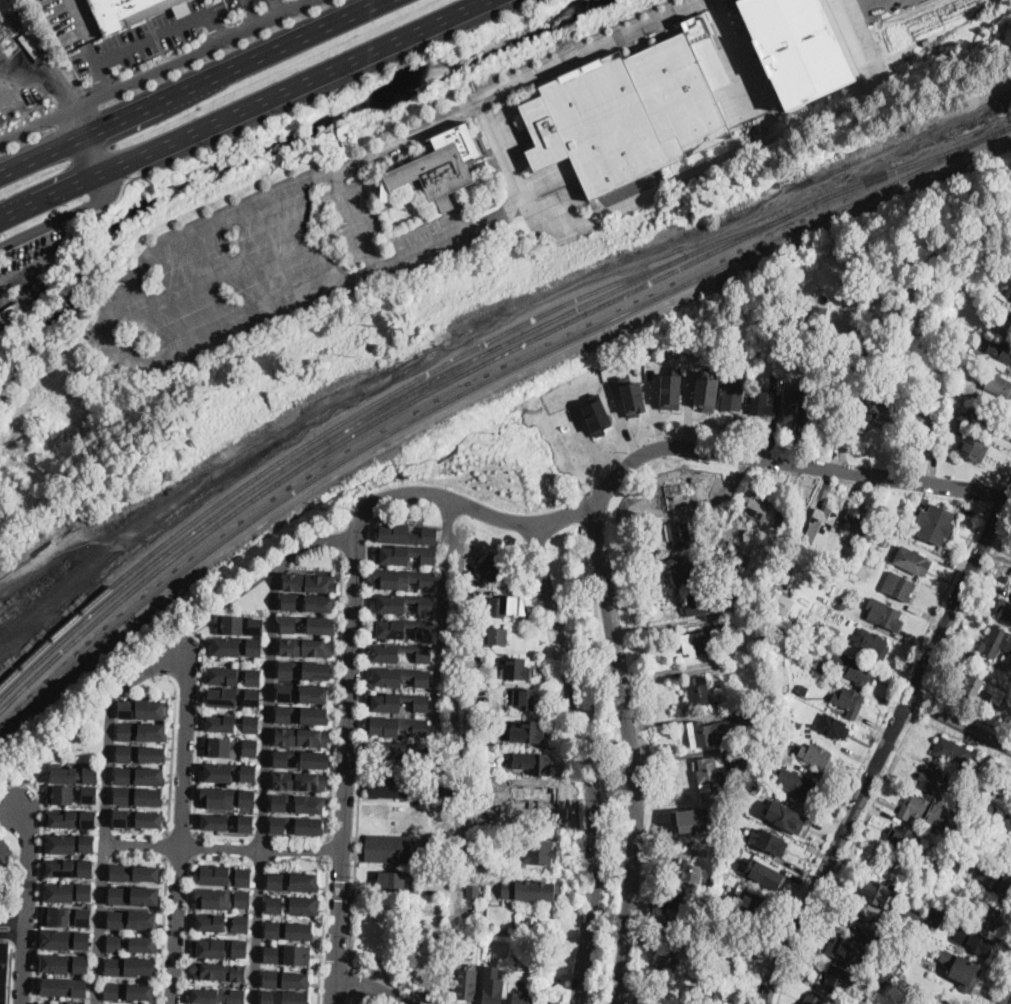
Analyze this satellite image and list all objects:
parking lot: (237, 4)
building: (182, 8)
road: (275, 8)
parking lot: (882, 8)
building: (123, 11)
road: (250, 13)
parking lot: (70, 22)
road: (89, 29)
road: (152, 35)
railway: (960, 36)
parking lot: (146, 37)
railway: (947, 38)
building: (926, 41)
building: (797, 47)
road: (588, 48)
road: (157, 71)
parking lot: (743, 75)
road: (59, 85)
road: (196, 88)
road: (861, 89)
parking lot: (16, 100)
road: (244, 108)
building: (633, 110)
road: (718, 163)
building: (440, 166)
parking lot: (567, 184)
road: (65, 216)
parking lot: (431, 246)
building: (813, 264)
road: (382, 265)
parking lot: (239, 272)
road: (207, 278)
building: (770, 292)
building: (735, 295)
building: (30, 297)
building: (12, 317)
building: (818, 319)
building: (1009, 323)
road: (109, 332)
railway: (539, 336)
building: (865, 350)
building: (1003, 351)
building: (973, 353)
building: (999, 385)
railway: (476, 387)
building: (885, 388)
building: (671, 389)
building: (707, 391)
building: (734, 392)
building: (633, 396)
building: (760, 403)
building: (878, 405)
building: (794, 409)
building: (828, 413)
building: (598, 415)
railway: (367, 418)
building: (981, 421)
railway: (344, 422)
building: (922, 442)
road: (666, 447)
building: (969, 448)
road: (1004, 469)
building: (695, 479)
road: (992, 493)
building: (674, 496)
building: (757, 506)
building: (789, 517)
building: (888, 517)
building: (824, 520)
building: (856, 523)
building: (935, 524)
building: (880, 532)
building: (681, 534)
building: (701, 534)
building: (405, 536)
building: (714, 536)
building: (722, 539)
building: (732, 543)
building: (781, 548)
road: (356, 552)
building: (729, 552)
building: (778, 555)
building: (403, 556)
building: (911, 560)
building: (490, 569)
building: (686, 569)
building: (701, 577)
building: (854, 577)
building: (402, 580)
building: (308, 582)
building: (897, 586)
building: (1010, 586)
road: (959, 594)
road: (235, 596)
building: (701, 601)
building: (780, 601)
building: (304, 603)
building: (402, 603)
road: (968, 603)
building: (516, 604)
building: (842, 604)
building: (498, 607)
building: (1004, 609)
building: (884, 613)
road: (441, 617)
building: (472, 618)
building: (228, 623)
building: (303, 624)
road: (669, 624)
building: (252, 625)
building: (401, 629)
building: (830, 633)
building: (496, 636)
building: (760, 640)
building: (702, 642)
building: (996, 642)
building: (872, 644)
building: (223, 645)
building: (251, 646)
building: (304, 646)
building: (399, 652)
railway: (60, 654)
railway: (25, 660)
building: (770, 661)
railway: (25, 666)
building: (824, 666)
road: (669, 668)
building: (515, 669)
building: (302, 670)
building: (858, 672)
building: (219, 673)
building: (249, 675)
building: (399, 676)
road: (673, 677)
building: (803, 690)
building: (993, 690)
building: (700, 691)
building: (299, 693)
road: (335, 694)
building: (219, 696)
building: (249, 697)
building: (523, 698)
building: (848, 701)
building: (397, 702)
road: (919, 702)
building: (766, 708)
building: (127, 709)
building: (152, 710)
road: (968, 710)
building: (298, 715)
building: (217, 722)
building: (248, 723)
building: (792, 723)
road: (960, 724)
building: (395, 725)
road: (197, 727)
building: (834, 727)
building: (125, 732)
building: (531, 732)
building: (152, 733)
building: (704, 734)
building: (297, 736)
road: (963, 738)
road: (446, 740)
road: (267, 741)
road: (347, 743)
road: (172, 745)
building: (216, 746)
building: (247, 747)
building: (752, 749)
building: (392, 750)
road: (630, 753)
building: (770, 753)
road: (865, 753)
building: (952, 753)
building: (125, 755)
road: (360, 755)
building: (153, 756)
building: (298, 758)
building: (818, 758)
road: (586, 762)
building: (538, 764)
road: (457, 766)
building: (215, 772)
building: (245, 772)
building: (707, 773)
building: (75, 776)
building: (124, 777)
building: (151, 777)
building: (298, 780)
building: (930, 780)
building: (472, 782)
building: (731, 785)
building: (979, 785)
building: (390, 787)
building: (803, 787)
building: (761, 788)
building: (494, 794)
building: (73, 795)
building: (543, 796)
building: (123, 797)
building: (216, 797)
building: (151, 798)
building: (244, 798)
building: (295, 803)
building: (920, 809)
building: (985, 813)
building: (787, 816)
building: (71, 819)
building: (122, 819)
building: (689, 819)
building: (151, 821)
building: (1007, 821)
building: (213, 822)
building: (242, 824)
building: (293, 825)
road: (183, 829)
road: (180, 832)
building: (732, 834)
building: (903, 837)
building: (768, 841)
road: (166, 843)
building: (71, 844)
road: (193, 844)
road: (324, 846)
road: (222, 848)
building: (389, 849)
building: (948, 849)
road: (834, 850)
building: (5, 852)
road: (104, 852)
building: (540, 852)
building: (700, 853)
road: (178, 855)
building: (475, 857)
building: (941, 857)
road: (846, 859)
building: (959, 859)
building: (429, 862)
building: (70, 868)
building: (693, 872)
building: (119, 873)
building: (763, 873)
building: (723, 874)
building: (148, 875)
building: (212, 875)
building: (242, 877)
building: (935, 878)
building: (273, 881)
building: (300, 881)
building: (396, 881)
building: (948, 883)
building: (1005, 883)
building: (531, 890)
building: (474, 892)
building: (69, 893)
building: (879, 893)
building: (117, 896)
building: (147, 897)
building: (673, 897)
building: (211, 899)
building: (242, 900)
building: (272, 904)
building: (749, 904)
building: (300, 905)
building: (658, 905)
road: (26, 906)
building: (722, 912)
building: (938, 914)
building: (911, 915)
building: (988, 915)
building: (67, 917)
building: (116, 919)
road: (13, 920)
building: (144, 920)
building: (207, 922)
building: (553, 922)
building: (238, 924)
building: (865, 924)
road: (323, 927)
building: (671, 928)
road: (164, 929)
road: (188, 929)
building: (270, 930)
building: (296, 931)
building: (905, 933)
road: (12, 934)
building: (735, 937)
building: (66, 940)
park: (402, 941)
building: (975, 942)
building: (115, 944)
building: (144, 945)
building: (208, 948)
building: (237, 949)
building: (851, 951)
building: (691, 953)
building: (268, 954)
building: (295, 954)
building: (915, 955)
building: (62, 963)
building: (882, 963)
building: (667, 964)
building: (114, 966)
building: (142, 967)
building: (726, 968)
building: (962, 970)
building: (1, 971)
building: (218, 973)
road: (356, 977)
building: (884, 977)
building: (267, 979)
building: (292, 979)
building: (838, 979)
building: (467, 984)
road: (1001, 984)
building: (492, 985)
road: (372, 986)
building: (62, 987)
road: (334, 987)
building: (113, 992)
building: (142, 992)
road: (361, 993)
building: (708, 995)
building: (202, 996)
building: (234, 997)
building: (282, 997)
road: (1008, 998)
building: (523, 999)
building: (813, 999)
building: (868, 1002)
building: (43, 1003)
building: (549, 1003)
park: (633, 1003)
building: (836, 1003)

